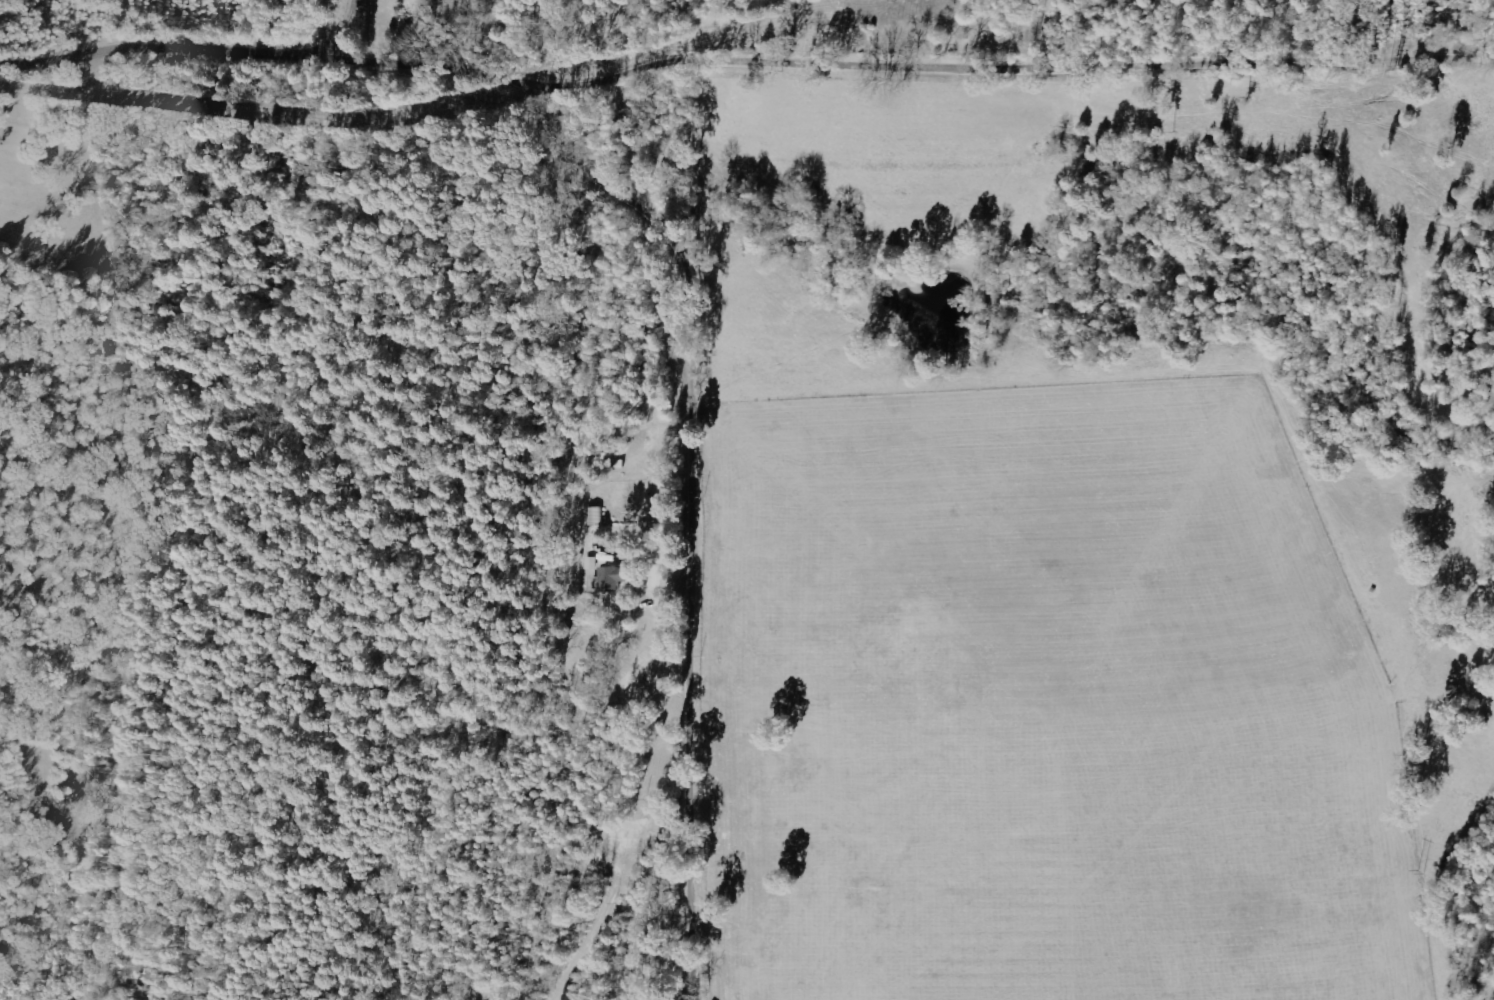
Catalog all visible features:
road: (290, 28)
road: (330, 36)
road: (143, 49)
road: (1003, 68)
road: (403, 71)
road: (699, 502)
building: (596, 517)
building: (592, 564)
building: (612, 580)
power tower: (1417, 875)

